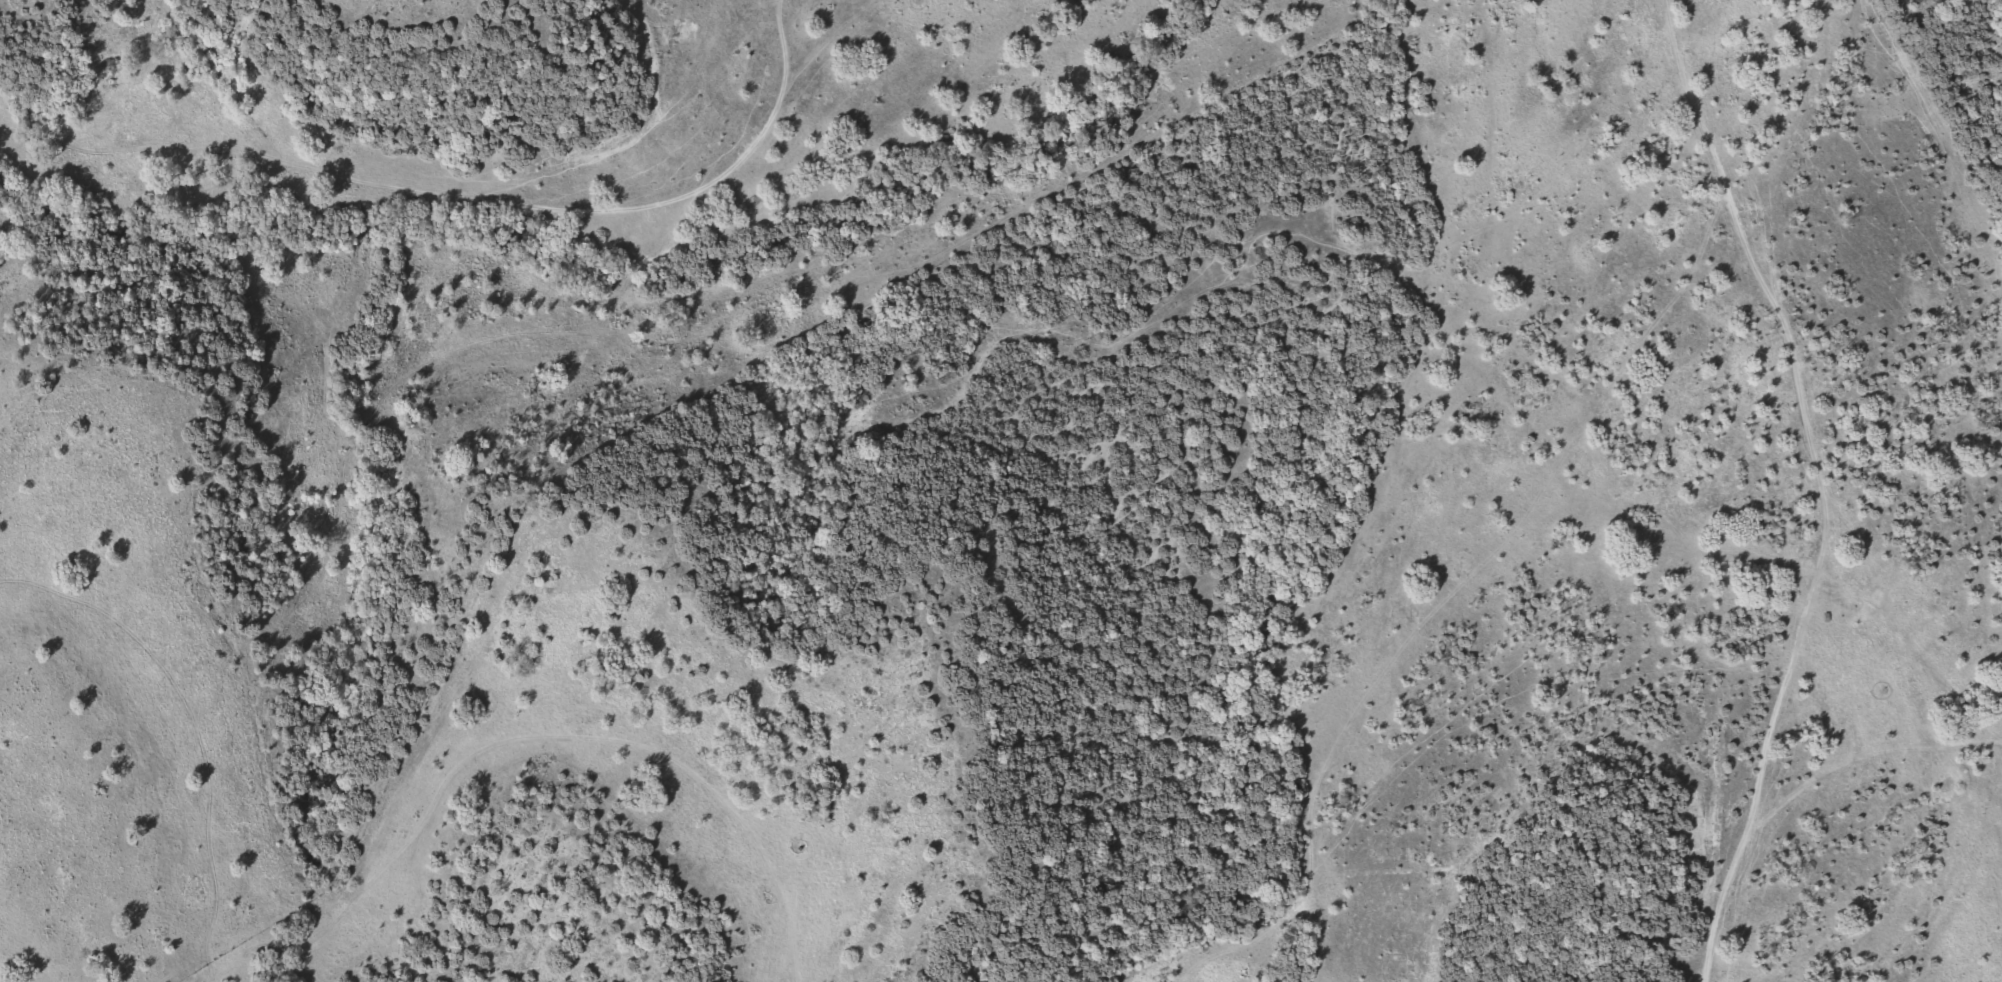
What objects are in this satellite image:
road: (593, 208)
road: (1827, 509)
road: (1931, 666)

